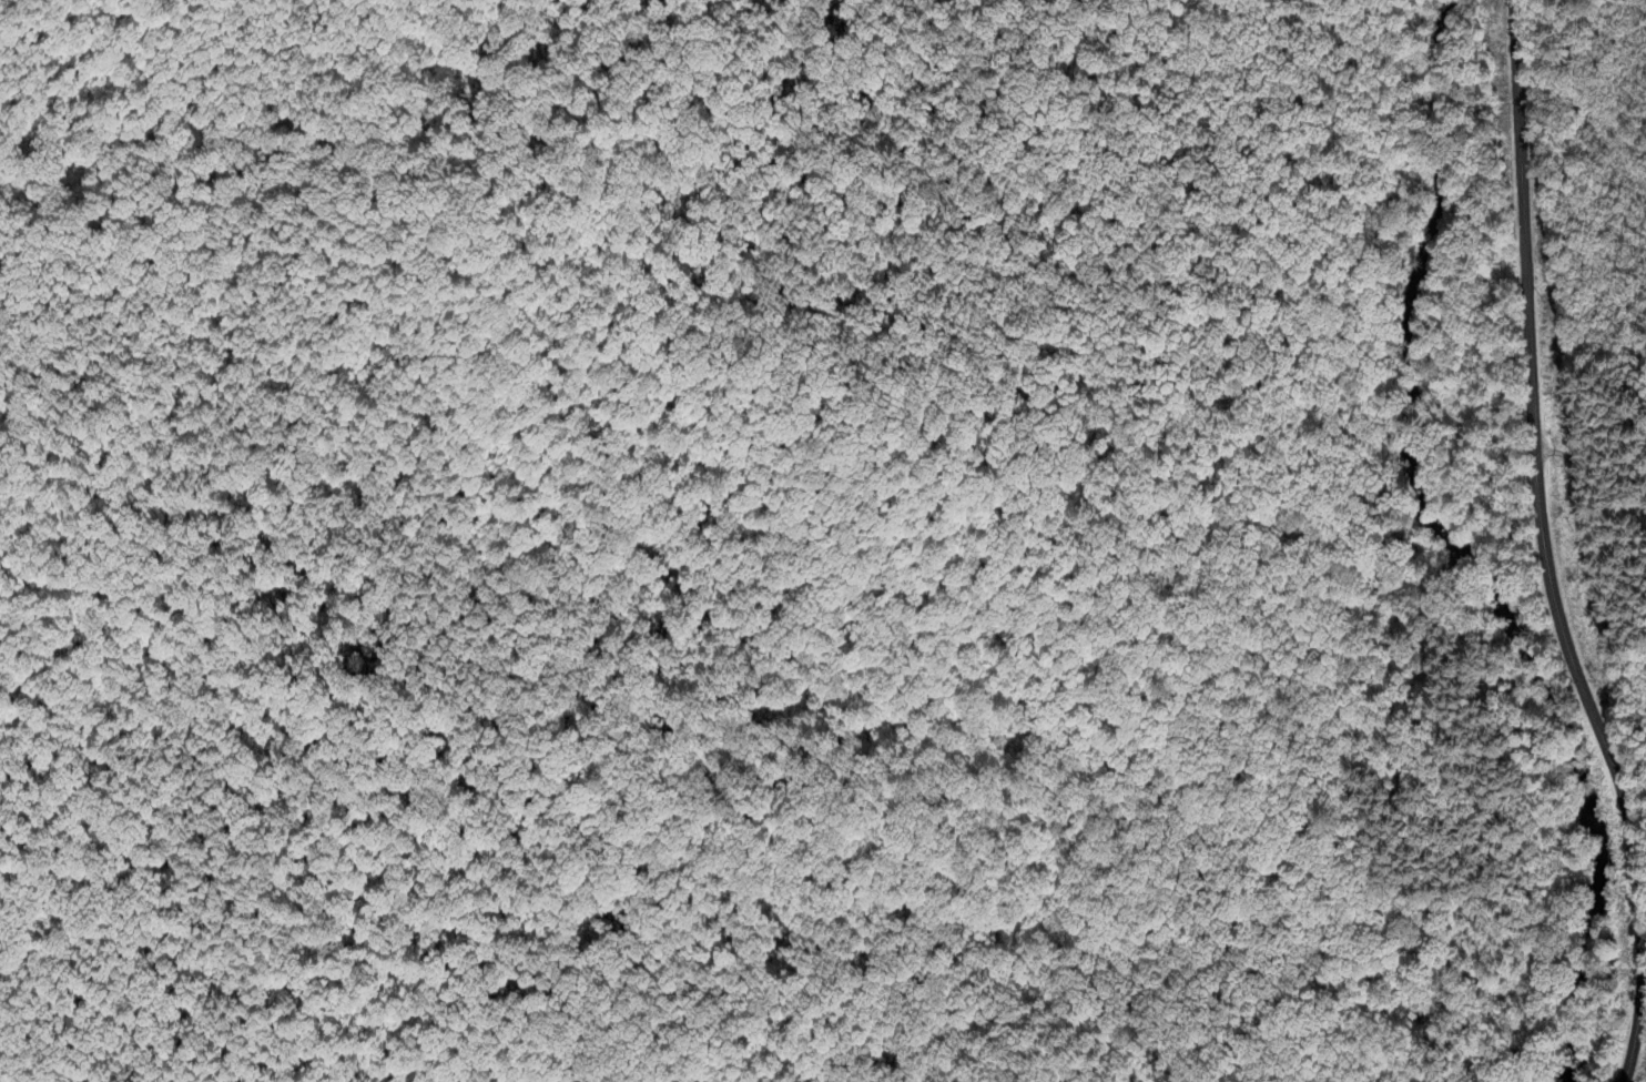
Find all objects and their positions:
road: (1544, 548)

